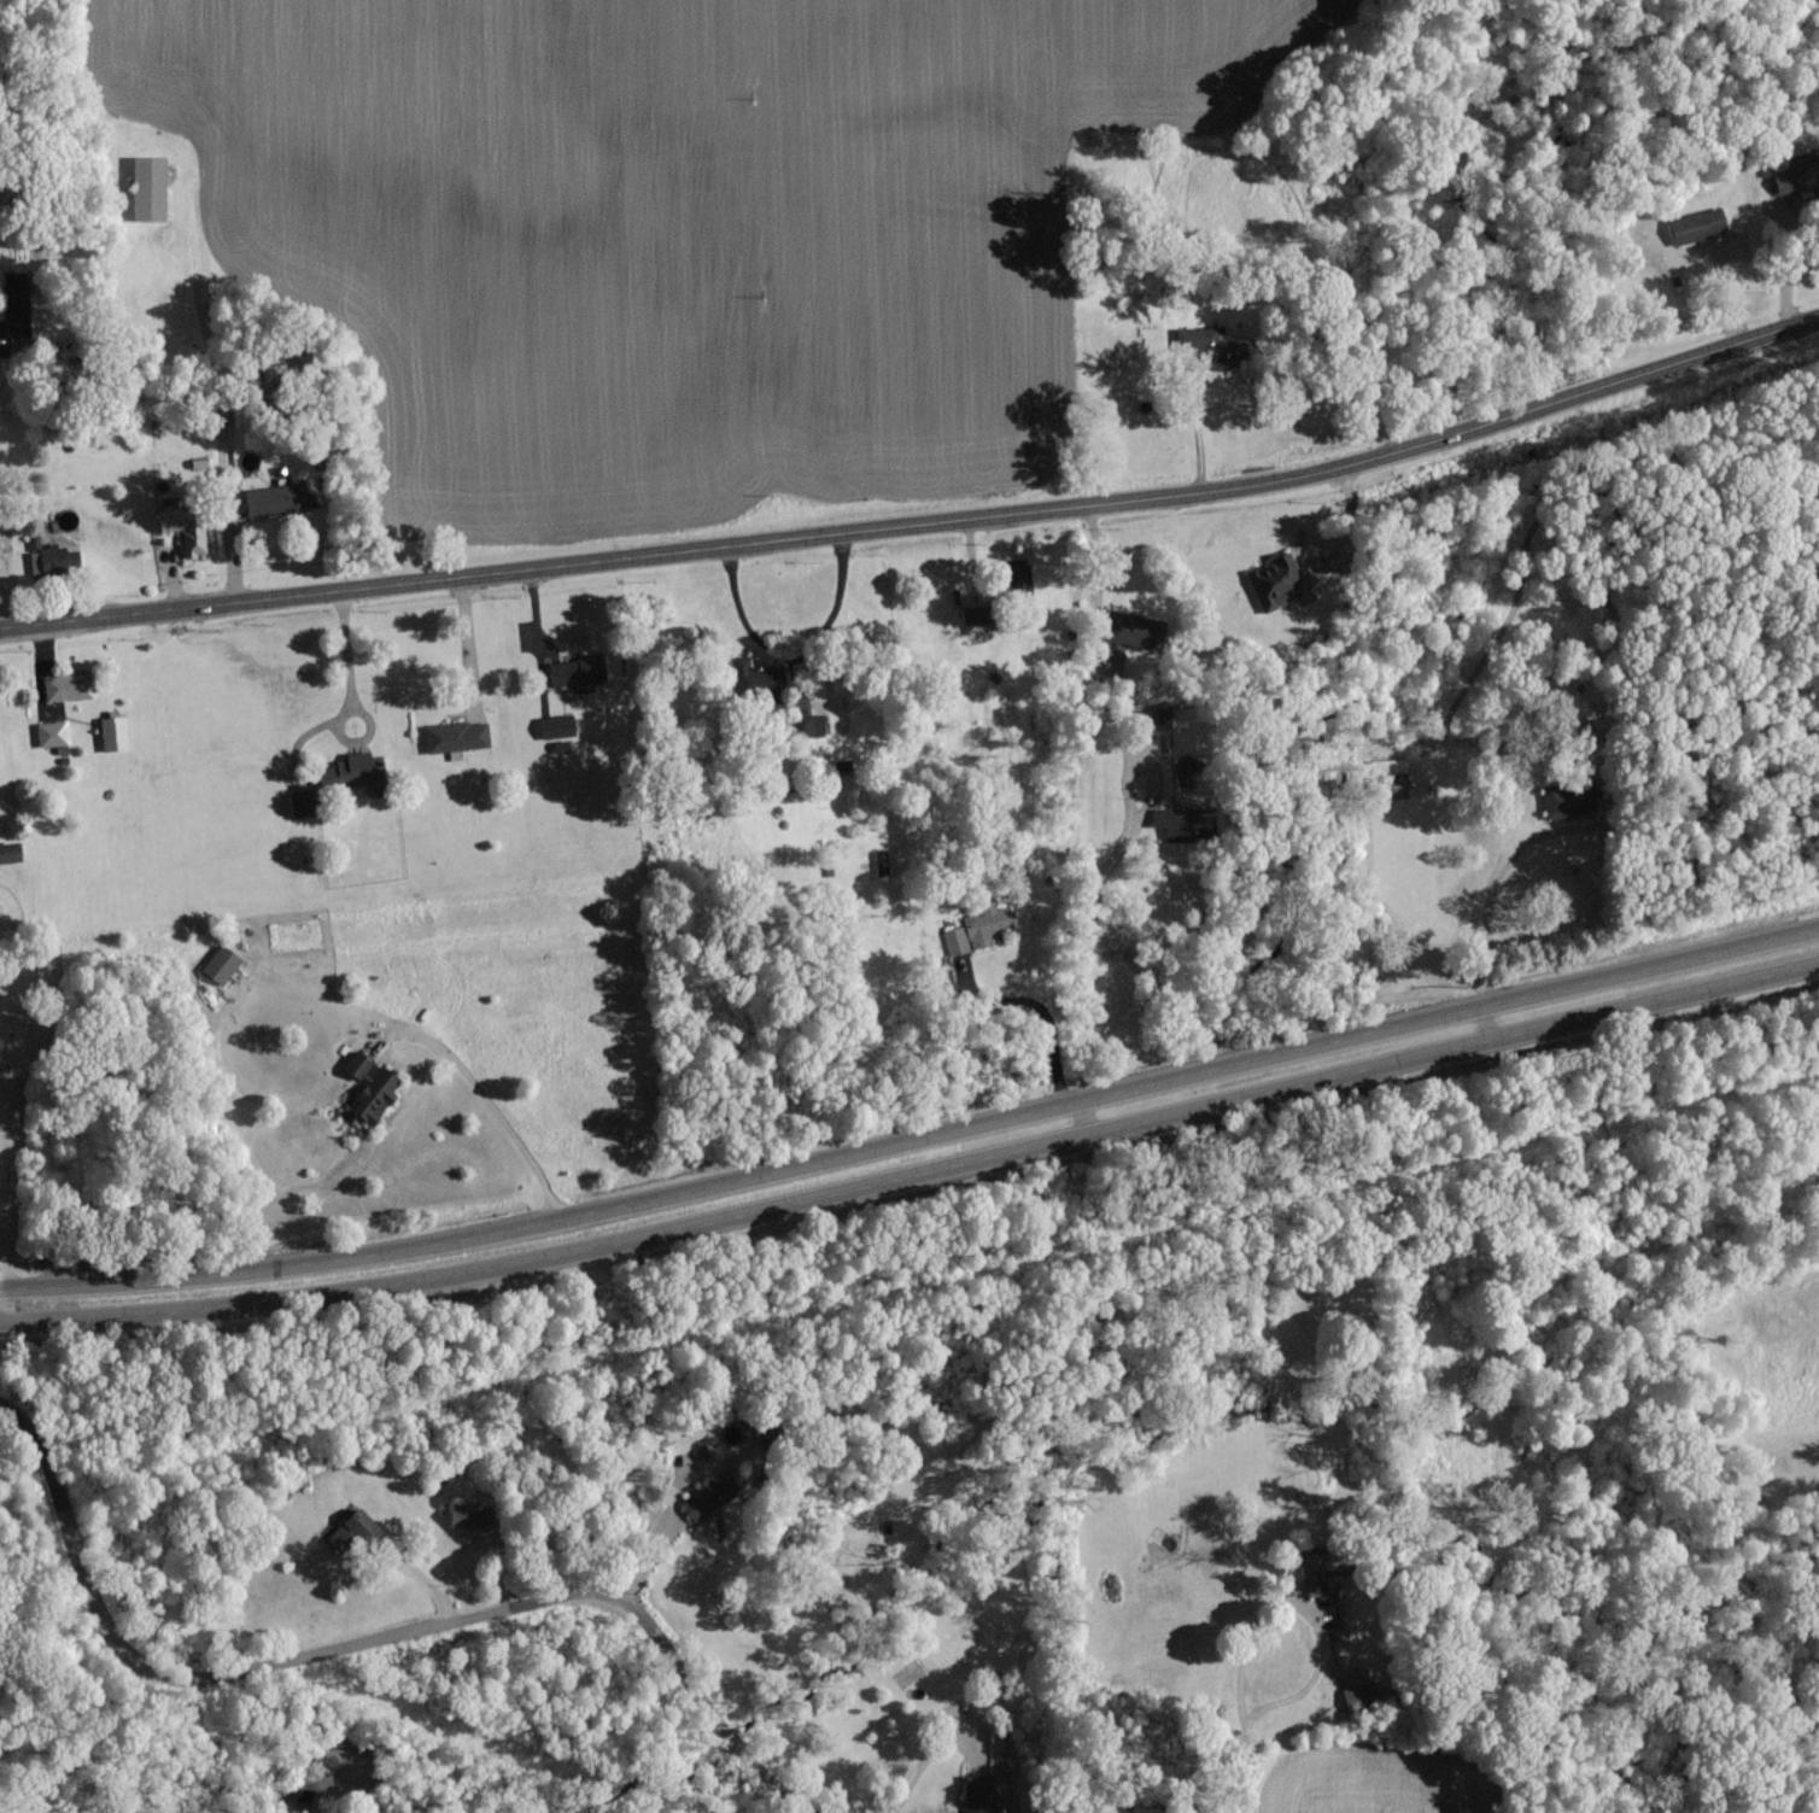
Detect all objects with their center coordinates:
building: (1796, 176)
building: (147, 186)
building: (1697, 224)
building: (16, 312)
building: (1212, 345)
road: (216, 404)
building: (275, 498)
road: (919, 524)
building: (183, 525)
building: (53, 558)
building: (1017, 577)
building: (1276, 580)
building: (975, 616)
building: (1133, 630)
road: (470, 655)
building: (1112, 662)
road: (350, 669)
building: (578, 671)
building: (755, 674)
building: (63, 686)
building: (807, 724)
building: (556, 725)
building: (51, 732)
building: (113, 732)
building: (456, 735)
building: (351, 768)
building: (1564, 799)
building: (302, 802)
building: (1182, 820)
building: (10, 852)
building: (881, 861)
road: (1488, 919)
building: (977, 928)
road: (1082, 958)
building: (220, 963)
road: (1655, 999)
road: (1046, 1006)
building: (369, 1086)
road: (491, 1100)
road: (1083, 1117)
road: (914, 1140)
road: (18, 1147)
road: (749, 1207)
road: (13, 1392)
road: (1754, 1455)
building: (703, 1499)
building: (467, 1515)
building: (352, 1532)
road: (659, 1544)
building: (1318, 1568)
road: (1287, 1603)
road: (365, 1645)
building: (1359, 1695)
road: (1254, 1764)
road: (924, 1768)
road: (663, 1789)
building: (979, 1792)

